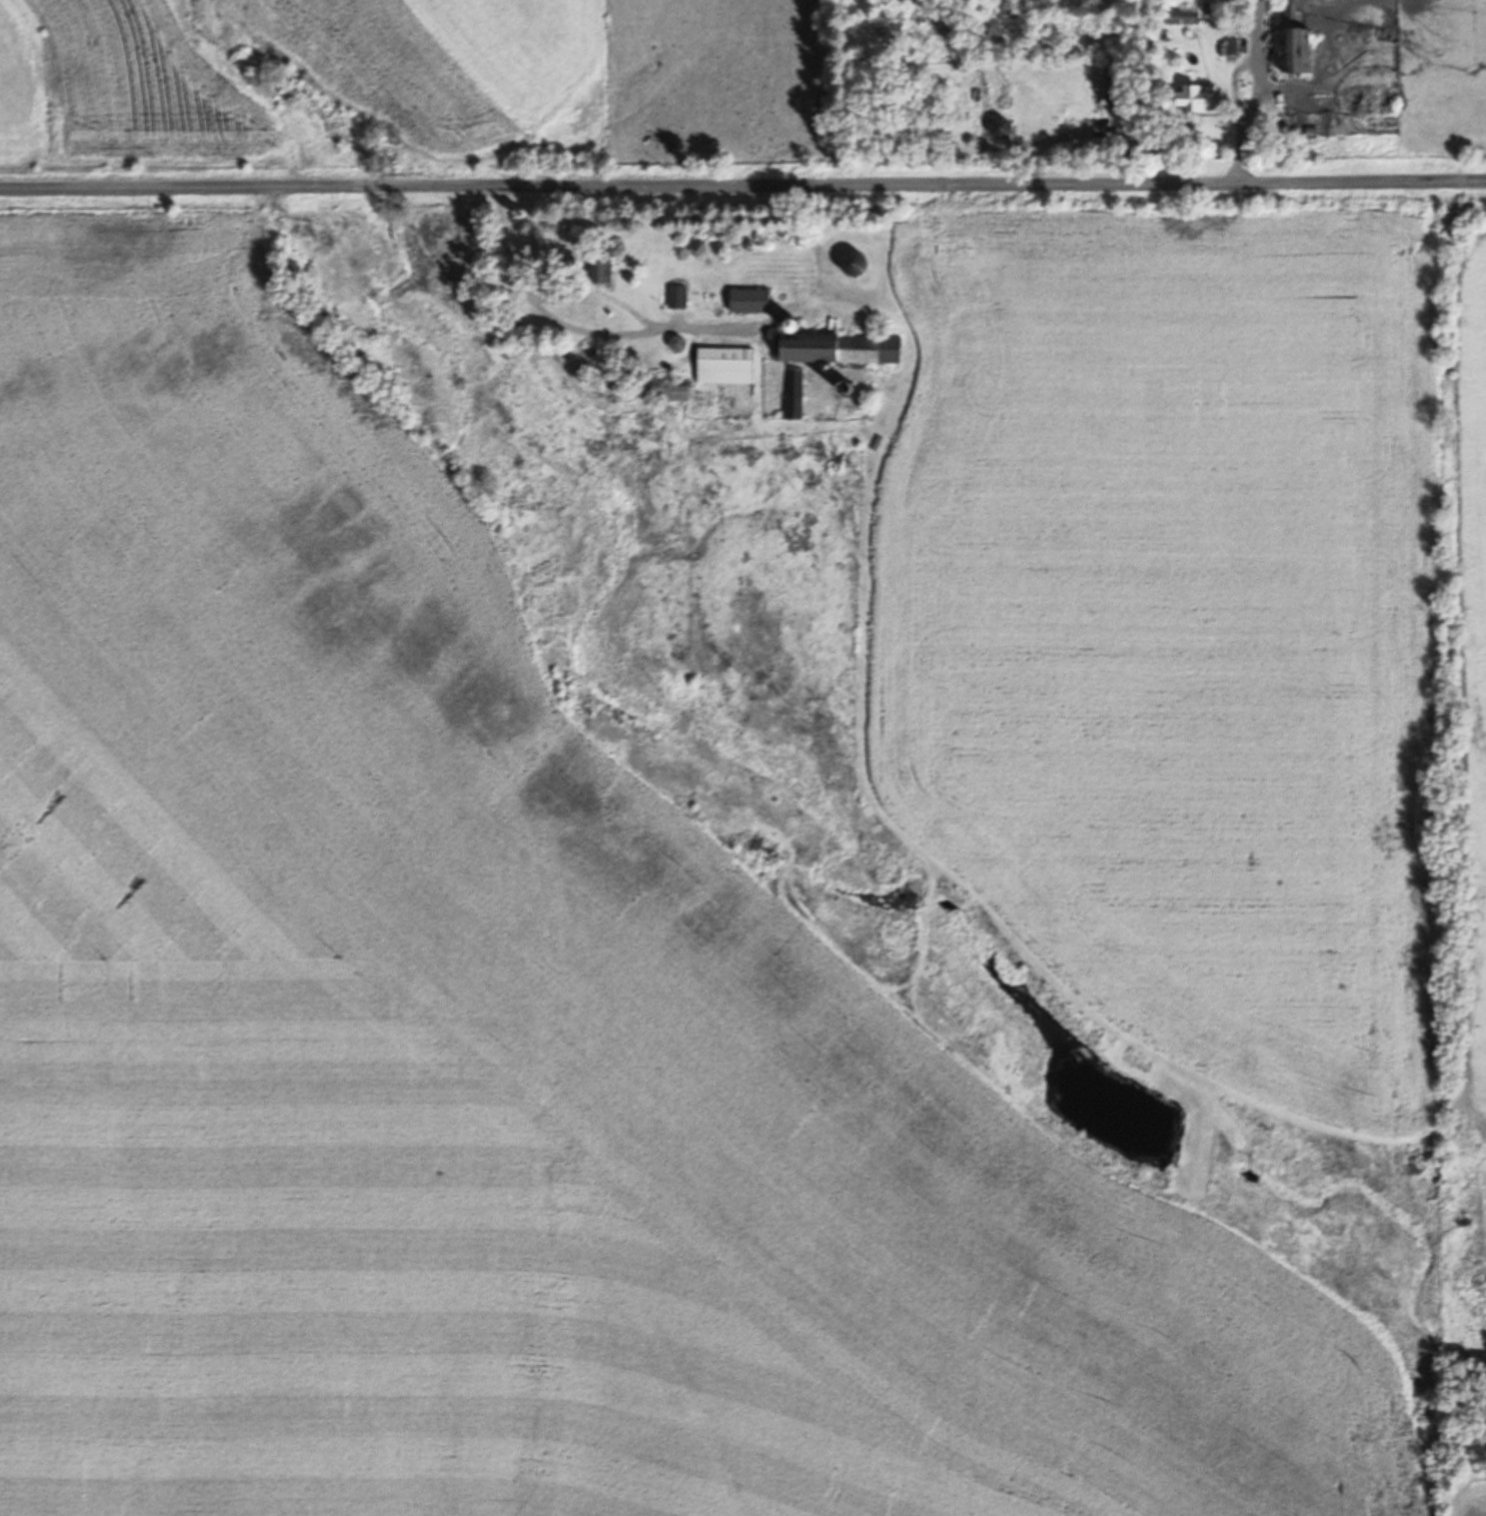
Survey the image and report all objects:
building: (1182, 16)
building: (1293, 51)
building: (1108, 85)
building: (1192, 99)
building: (1363, 100)
building: (1000, 128)
road: (743, 187)
building: (853, 261)
building: (600, 263)
building: (677, 295)
building: (749, 299)
building: (839, 348)
building: (595, 355)
building: (725, 364)
building: (842, 386)
building: (674, 391)
building: (794, 392)

